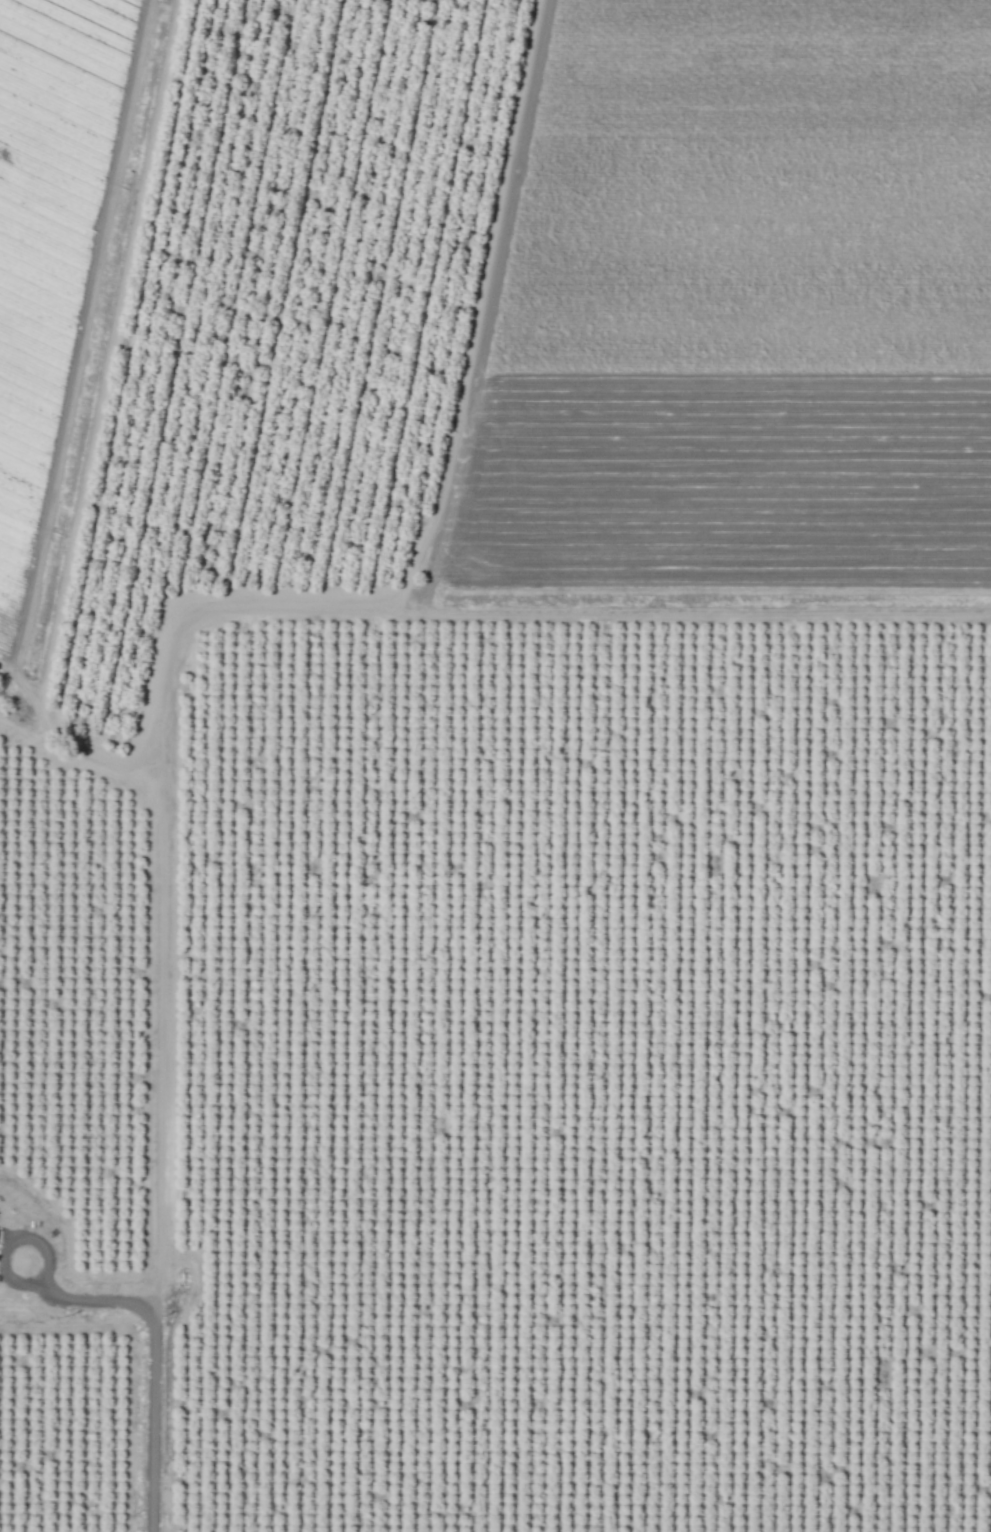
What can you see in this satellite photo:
road: (12, 1243)
road: (156, 1366)

